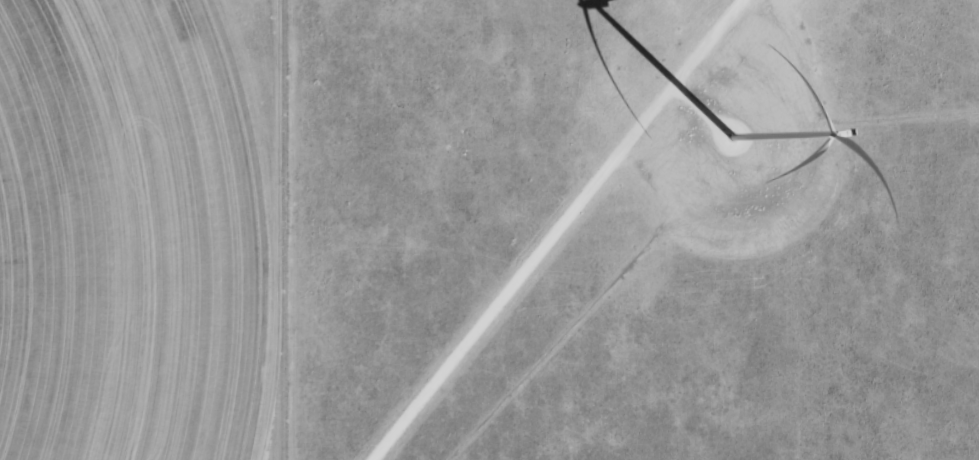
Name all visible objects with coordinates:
wind turbine: (730, 137)

